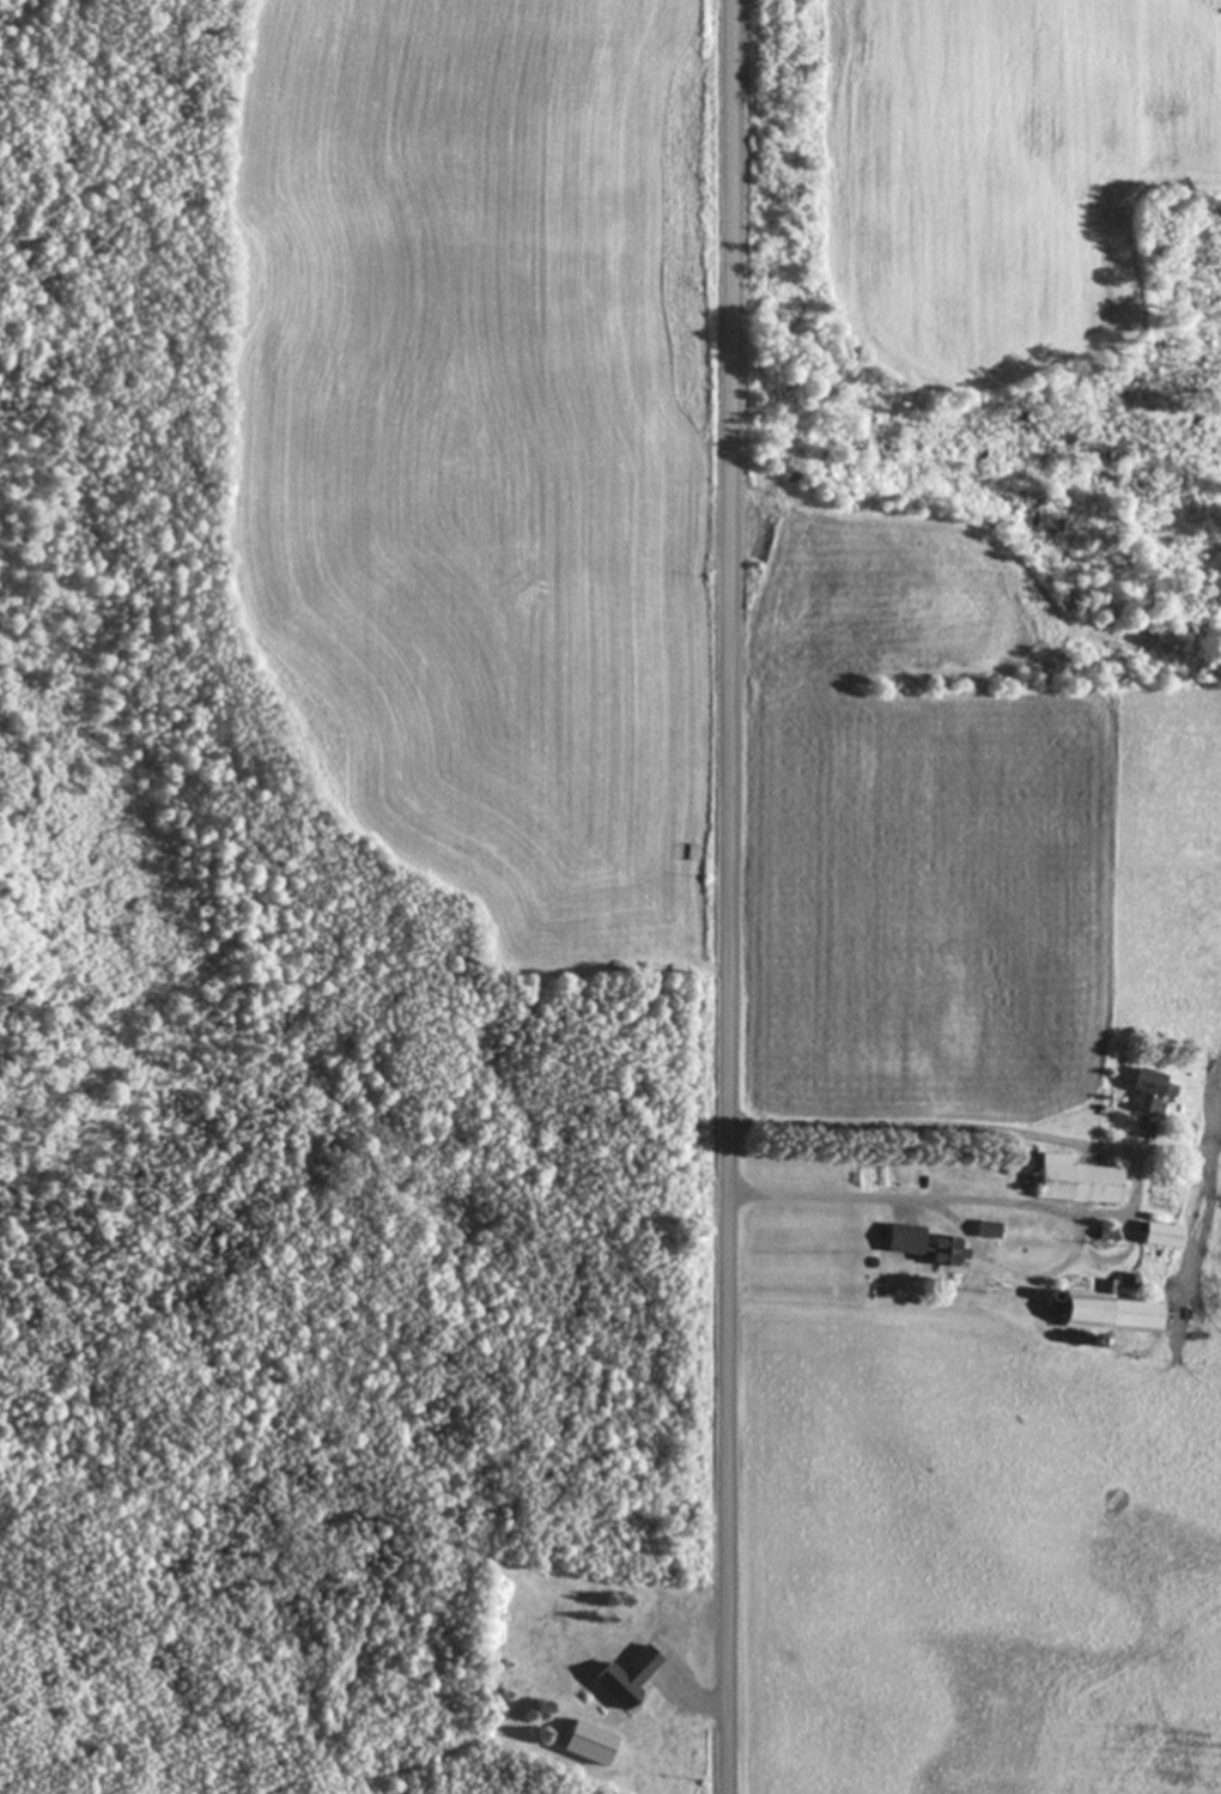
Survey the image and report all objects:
road: (724, 896)
building: (1147, 1090)
road: (1117, 1116)
road: (1134, 1180)
building: (1074, 1181)
crop: (978, 1195)
building: (1156, 1235)
building: (927, 1247)
building: (615, 1307)
building: (1106, 1313)

